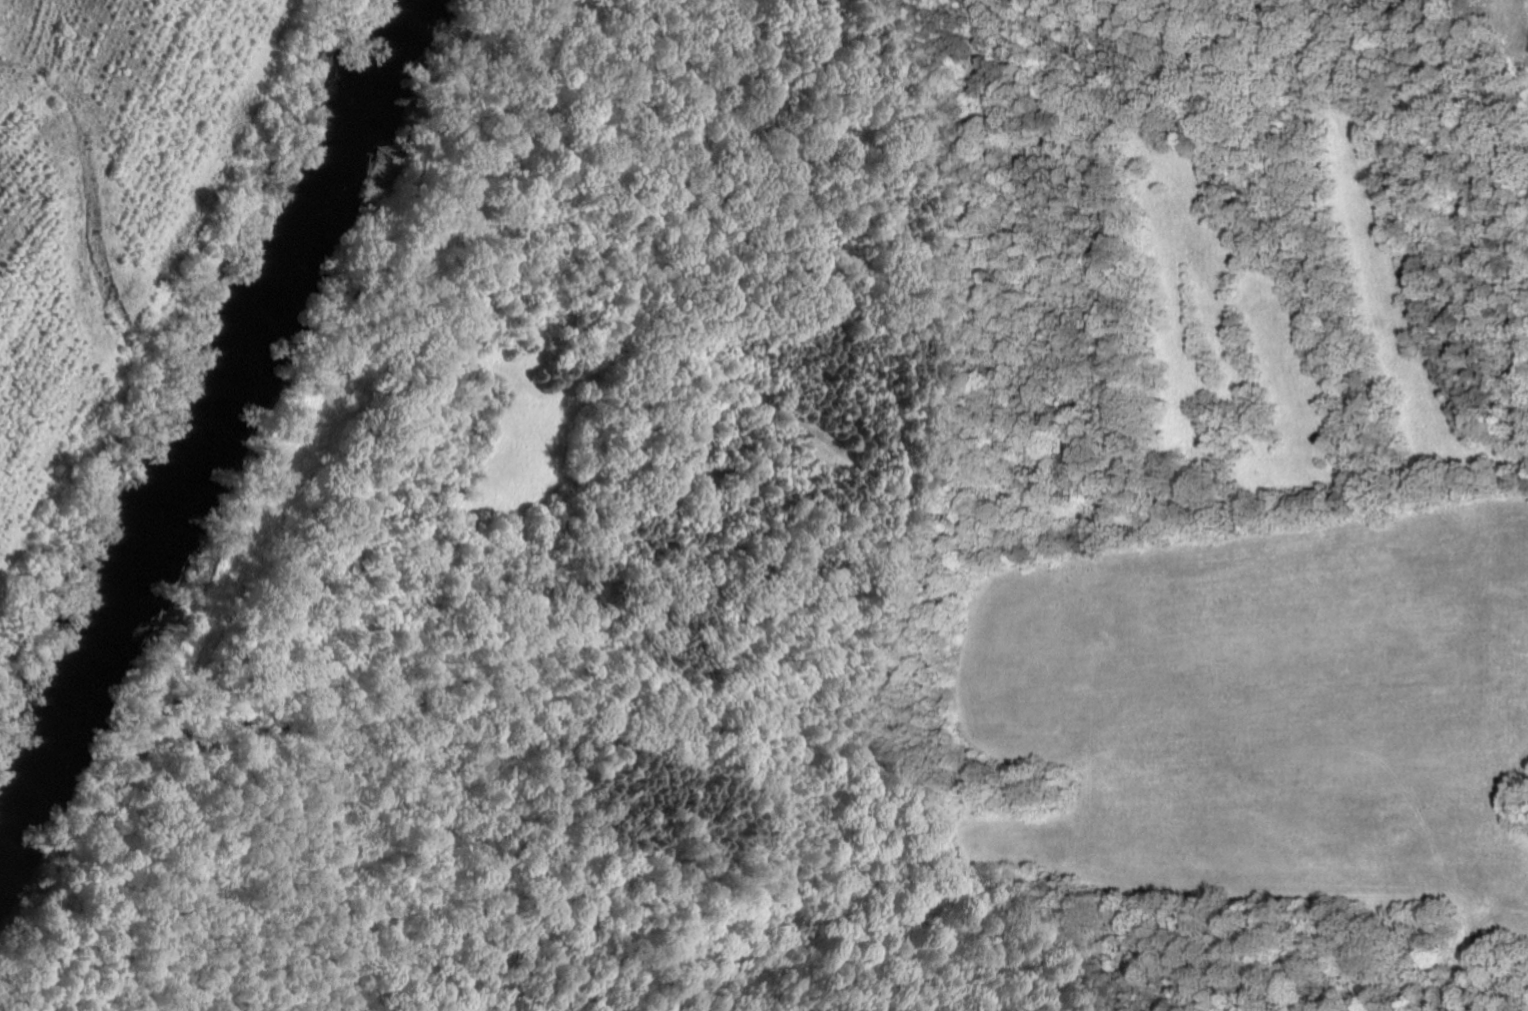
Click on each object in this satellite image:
river: (210, 390)

